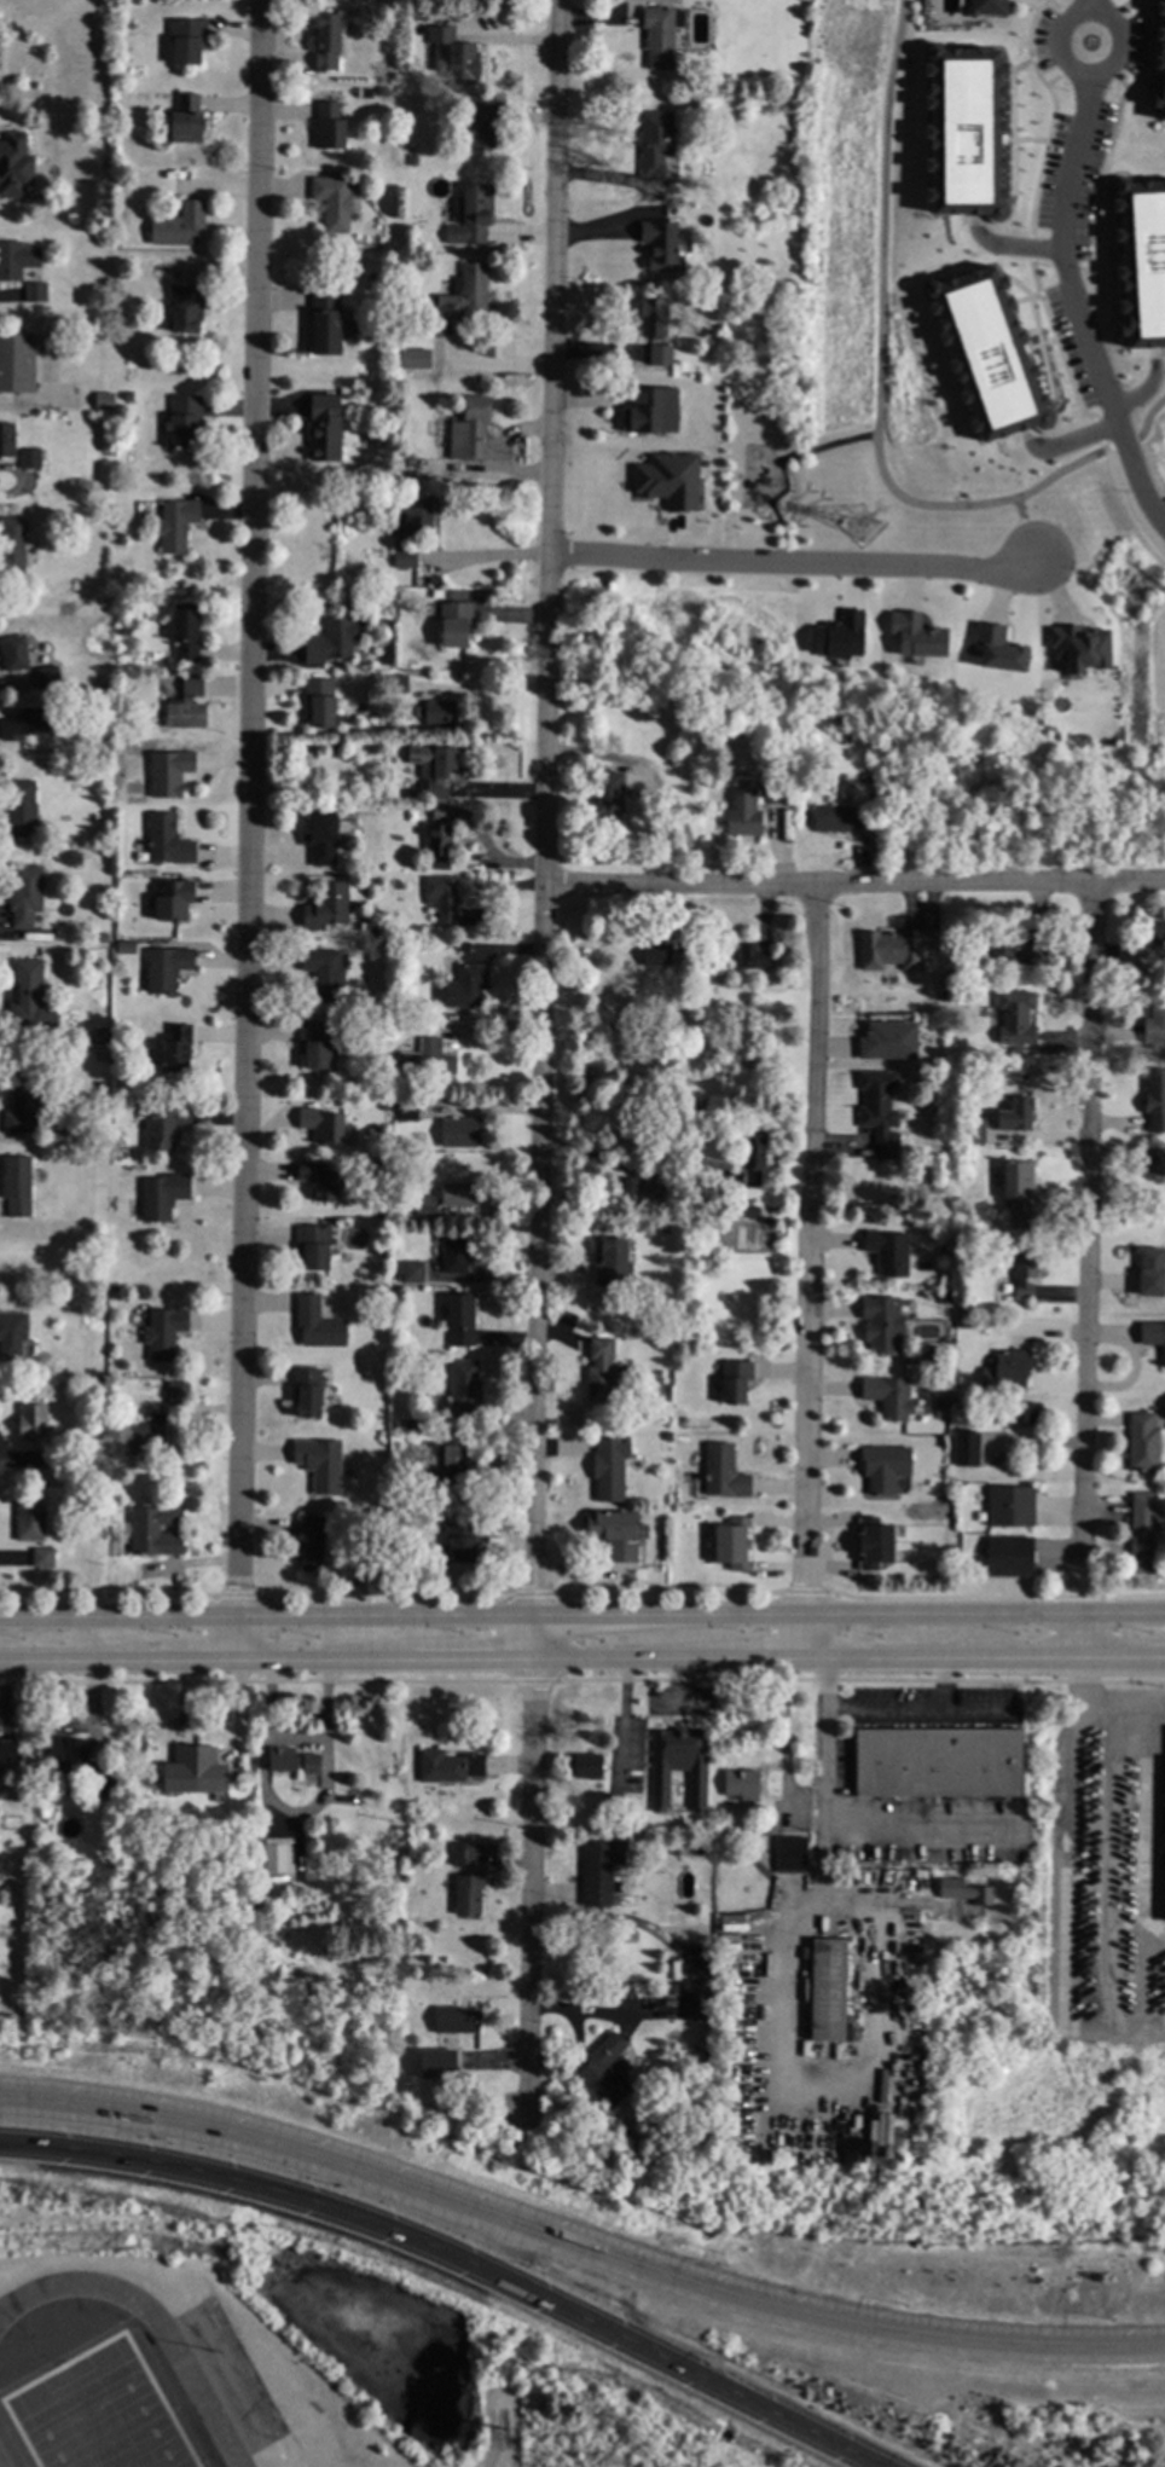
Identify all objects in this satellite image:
road: (1088, 6)
building: (985, 7)
road: (1060, 10)
road: (1119, 10)
road: (1105, 16)
building: (660, 36)
building: (187, 41)
building: (326, 42)
building: (454, 56)
building: (1160, 62)
road: (1056, 75)
road: (1117, 79)
building: (382, 92)
road: (1053, 115)
building: (186, 121)
road: (1113, 122)
building: (482, 126)
building: (329, 128)
building: (964, 129)
building: (655, 143)
building: (412, 162)
building: (15, 167)
building: (335, 202)
building: (667, 203)
building: (448, 215)
building: (471, 215)
building: (179, 226)
road: (1077, 232)
building: (661, 245)
road: (1012, 245)
road: (1030, 248)
building: (1141, 260)
building: (17, 261)
building: (35, 293)
building: (465, 293)
building: (702, 307)
road: (1078, 307)
building: (185, 309)
building: (653, 318)
building: (325, 322)
road: (1055, 343)
building: (986, 353)
building: (660, 357)
building: (415, 358)
building: (10, 363)
road: (879, 363)
road: (1144, 387)
building: (103, 400)
building: (650, 411)
road: (1148, 416)
building: (185, 422)
building: (324, 430)
road: (1096, 430)
building: (470, 432)
road: (1068, 440)
road: (1123, 442)
building: (6, 444)
building: (29, 461)
road: (779, 467)
building: (408, 470)
building: (667, 480)
road: (1124, 506)
building: (418, 516)
building: (175, 525)
power tower: (865, 529)
road: (1026, 529)
building: (118, 540)
building: (11, 548)
road: (481, 558)
building: (405, 560)
road: (794, 563)
building: (436, 593)
park: (761, 610)
building: (454, 626)
building: (186, 632)
building: (915, 635)
building: (837, 636)
building: (331, 642)
building: (1079, 647)
building: (997, 649)
building: (15, 655)
building: (104, 665)
building: (48, 681)
building: (396, 685)
building: (320, 701)
building: (187, 706)
building: (436, 714)
building: (695, 716)
building: (25, 725)
building: (337, 746)
building: (433, 769)
building: (169, 774)
building: (864, 777)
building: (773, 793)
building: (608, 797)
building: (21, 810)
building: (441, 813)
building: (742, 815)
building: (837, 820)
road: (249, 830)
building: (321, 839)
building: (167, 841)
building: (439, 841)
road: (854, 885)
building: (25, 897)
building: (441, 899)
building: (173, 900)
building: (326, 908)
building: (372, 934)
building: (364, 936)
building: (103, 939)
building: (1154, 943)
building: (124, 946)
building: (463, 948)
building: (894, 949)
building: (1018, 949)
building: (752, 959)
building: (670, 963)
building: (166, 969)
building: (325, 974)
building: (1007, 984)
building: (463, 988)
building: (25, 996)
building: (944, 997)
building: (1015, 1019)
building: (1154, 1025)
building: (100, 1037)
building: (887, 1041)
building: (315, 1046)
building: (175, 1049)
road: (541, 1056)
building: (102, 1058)
building: (427, 1060)
building: (382, 1077)
building: (1154, 1100)
building: (22, 1104)
building: (406, 1112)
building: (879, 1113)
building: (1015, 1117)
building: (321, 1127)
building: (164, 1128)
building: (974, 1130)
building: (458, 1134)
building: (753, 1158)
building: (1149, 1165)
building: (320, 1180)
building: (17, 1187)
building: (1018, 1192)
building: (627, 1194)
building: (459, 1195)
building: (162, 1197)
building: (425, 1208)
building: (773, 1211)
building: (720, 1212)
building: (748, 1212)
building: (313, 1249)
building: (888, 1252)
building: (454, 1256)
building: (612, 1263)
road: (1085, 1269)
road: (811, 1270)
building: (412, 1273)
building: (1024, 1274)
building: (1150, 1274)
building: (111, 1287)
building: (949, 1298)
building: (968, 1311)
building: (661, 1316)
building: (460, 1320)
building: (318, 1326)
building: (882, 1326)
building: (164, 1333)
building: (12, 1334)
building: (1153, 1337)
building: (932, 1351)
building: (598, 1372)
building: (1007, 1373)
building: (735, 1382)
building: (97, 1383)
building: (465, 1391)
building: (178, 1394)
building: (307, 1394)
building: (888, 1397)
building: (939, 1403)
building: (1019, 1414)
building: (31, 1421)
building: (411, 1425)
building: (145, 1435)
building: (963, 1440)
building: (1142, 1444)
building: (114, 1453)
building: (54, 1461)
building: (319, 1465)
building: (450, 1466)
building: (883, 1467)
building: (609, 1469)
building: (723, 1473)
building: (1010, 1508)
building: (377, 1515)
building: (395, 1515)
building: (29, 1523)
building: (155, 1533)
building: (1142, 1533)
building: (613, 1535)
building: (462, 1540)
building: (312, 1545)
building: (731, 1545)
building: (874, 1545)
building: (1009, 1558)
building: (42, 1559)
building: (92, 1571)
road: (581, 1612)
road: (581, 1657)
road: (941, 1684)
road: (916, 1710)
building: (7, 1749)
building: (64, 1757)
building: (938, 1761)
building: (295, 1762)
building: (678, 1764)
building: (448, 1765)
building: (587, 1765)
building: (193, 1768)
building: (741, 1783)
building: (102, 1784)
building: (614, 1802)
road: (292, 1818)
road: (842, 1826)
road: (1092, 1832)
building: (313, 1838)
building: (790, 1852)
building: (463, 1853)
building: (278, 1855)
building: (599, 1870)
building: (962, 1888)
building: (7, 1889)
building: (468, 1893)
building: (628, 1936)
building: (696, 1958)
building: (371, 1969)
building: (827, 1988)
building: (393, 1992)
building: (628, 1992)
building: (695, 2003)
building: (453, 2019)
building: (437, 2063)
building: (604, 2069)
building: (639, 2098)
street lamp: (164, 2144)
street lamp: (343, 2189)
road: (578, 2246)
road: (456, 2257)
street lamp: (527, 2266)
track: (153, 2317)
park: (98, 2415)
road: (495, 2450)

